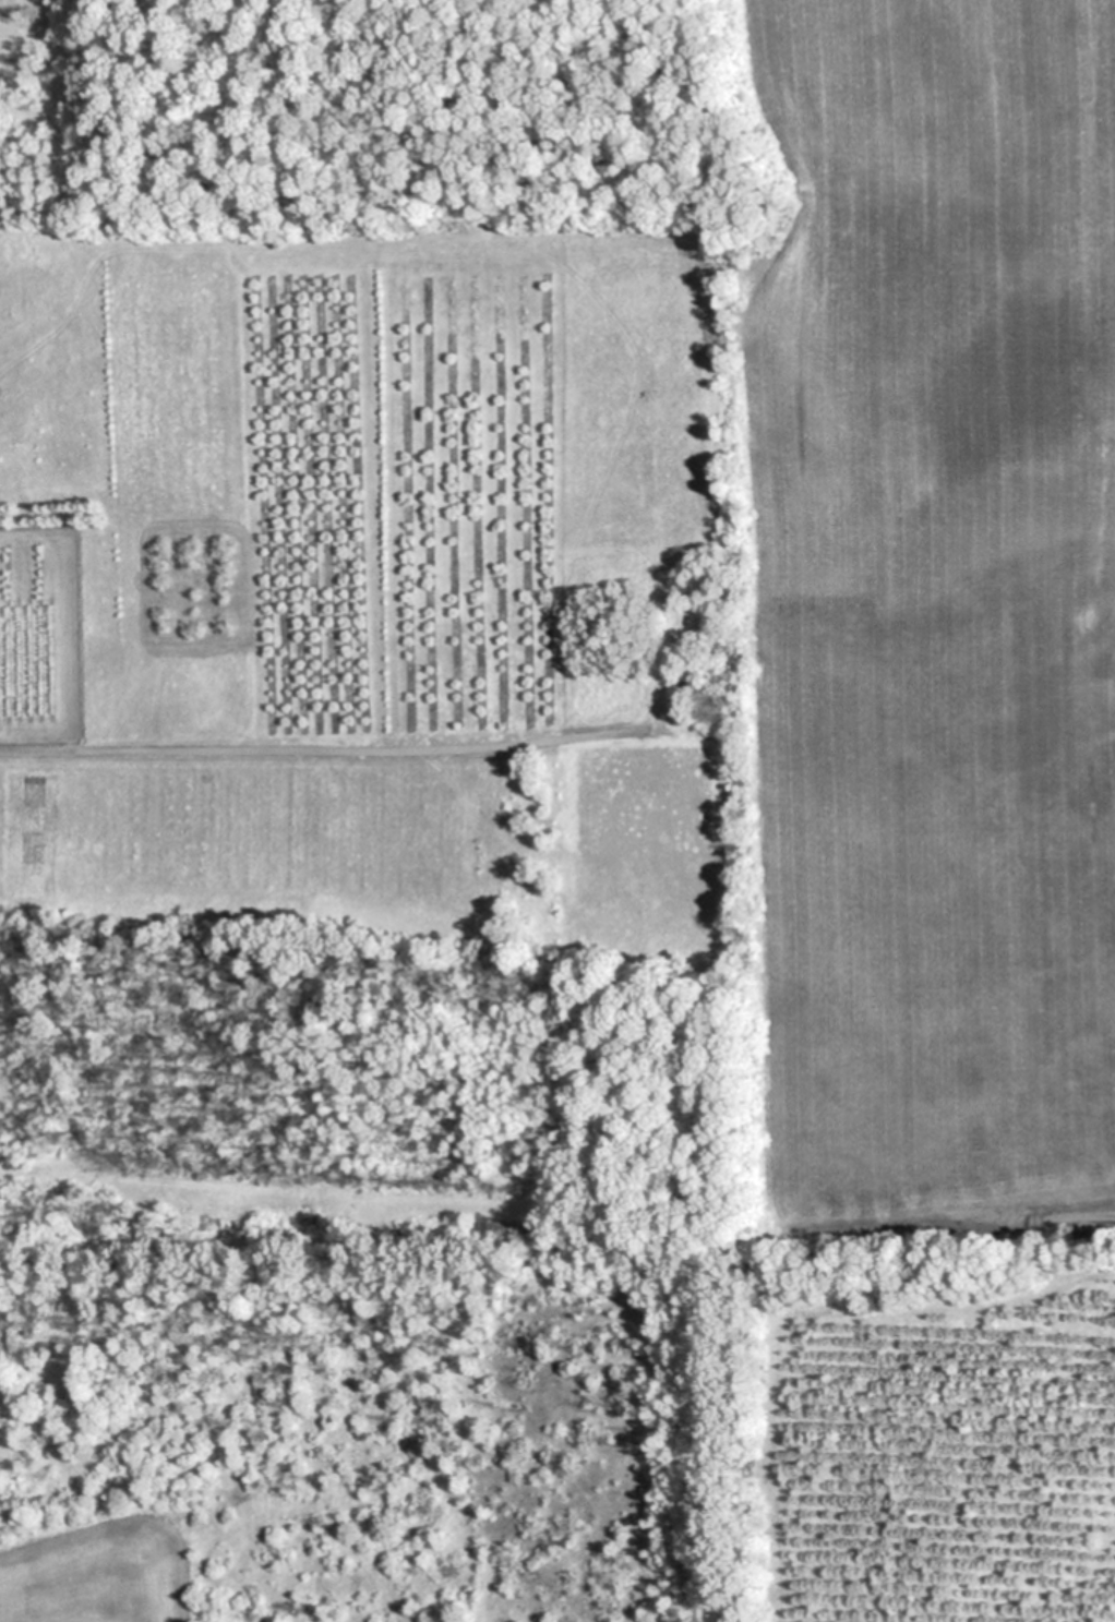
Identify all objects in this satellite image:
quarry: (932, 630)
crop: (375, 750)

